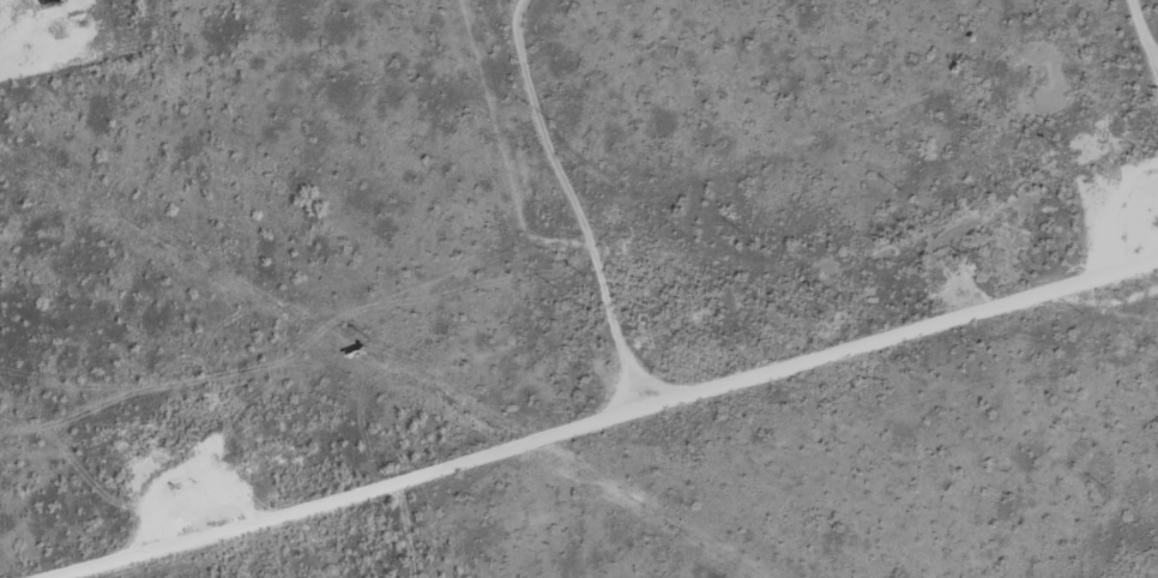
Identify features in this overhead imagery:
road: (693, 374)

